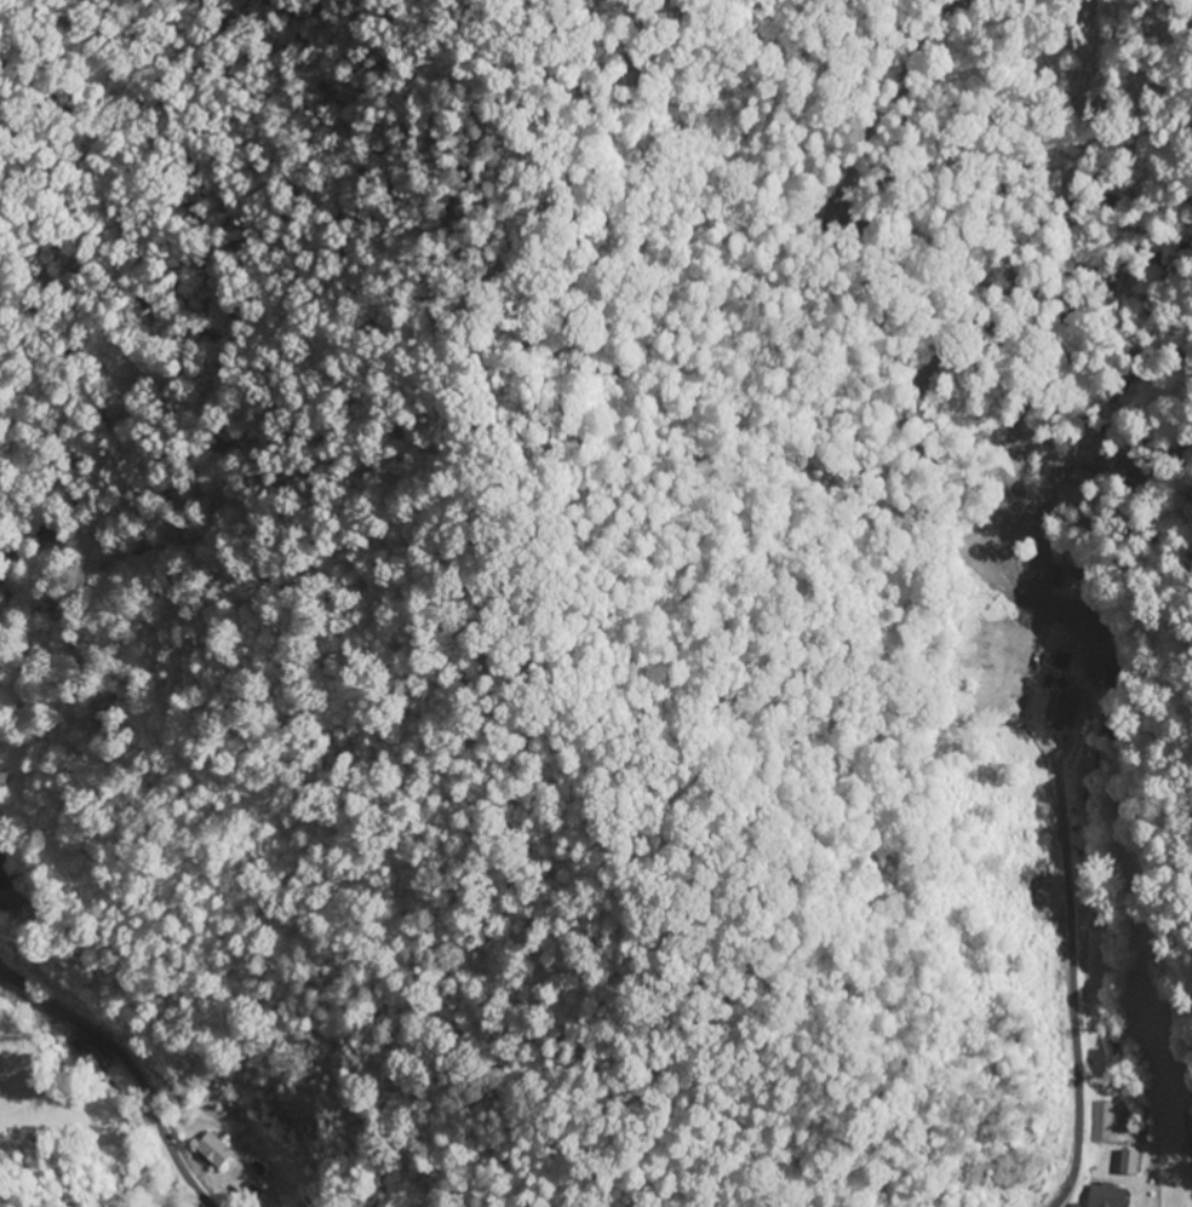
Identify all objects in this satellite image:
building: (1060, 706)
road: (137, 972)
road: (1081, 973)
road: (124, 1075)
building: (210, 1151)
building: (1102, 1196)

